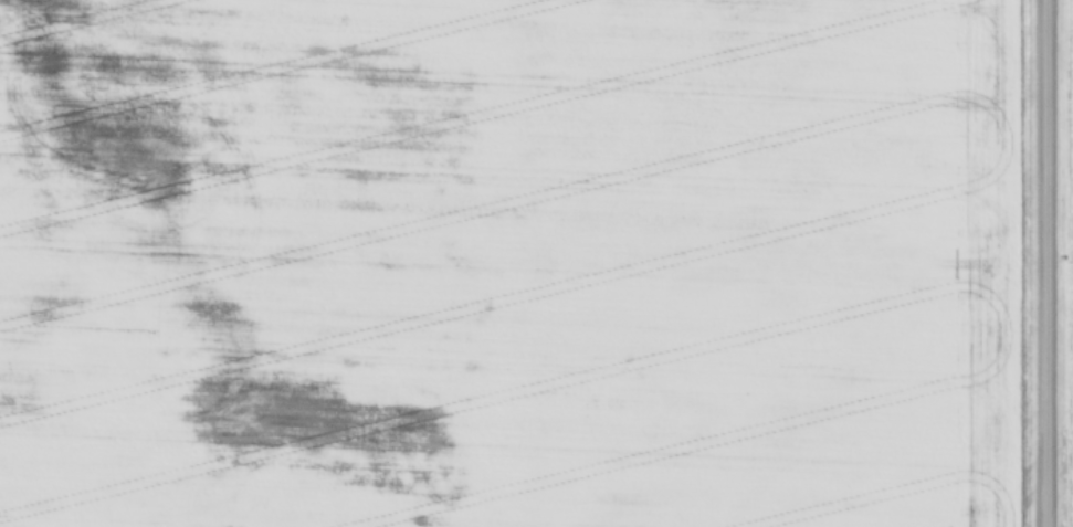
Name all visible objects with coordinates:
road: (1045, 263)

